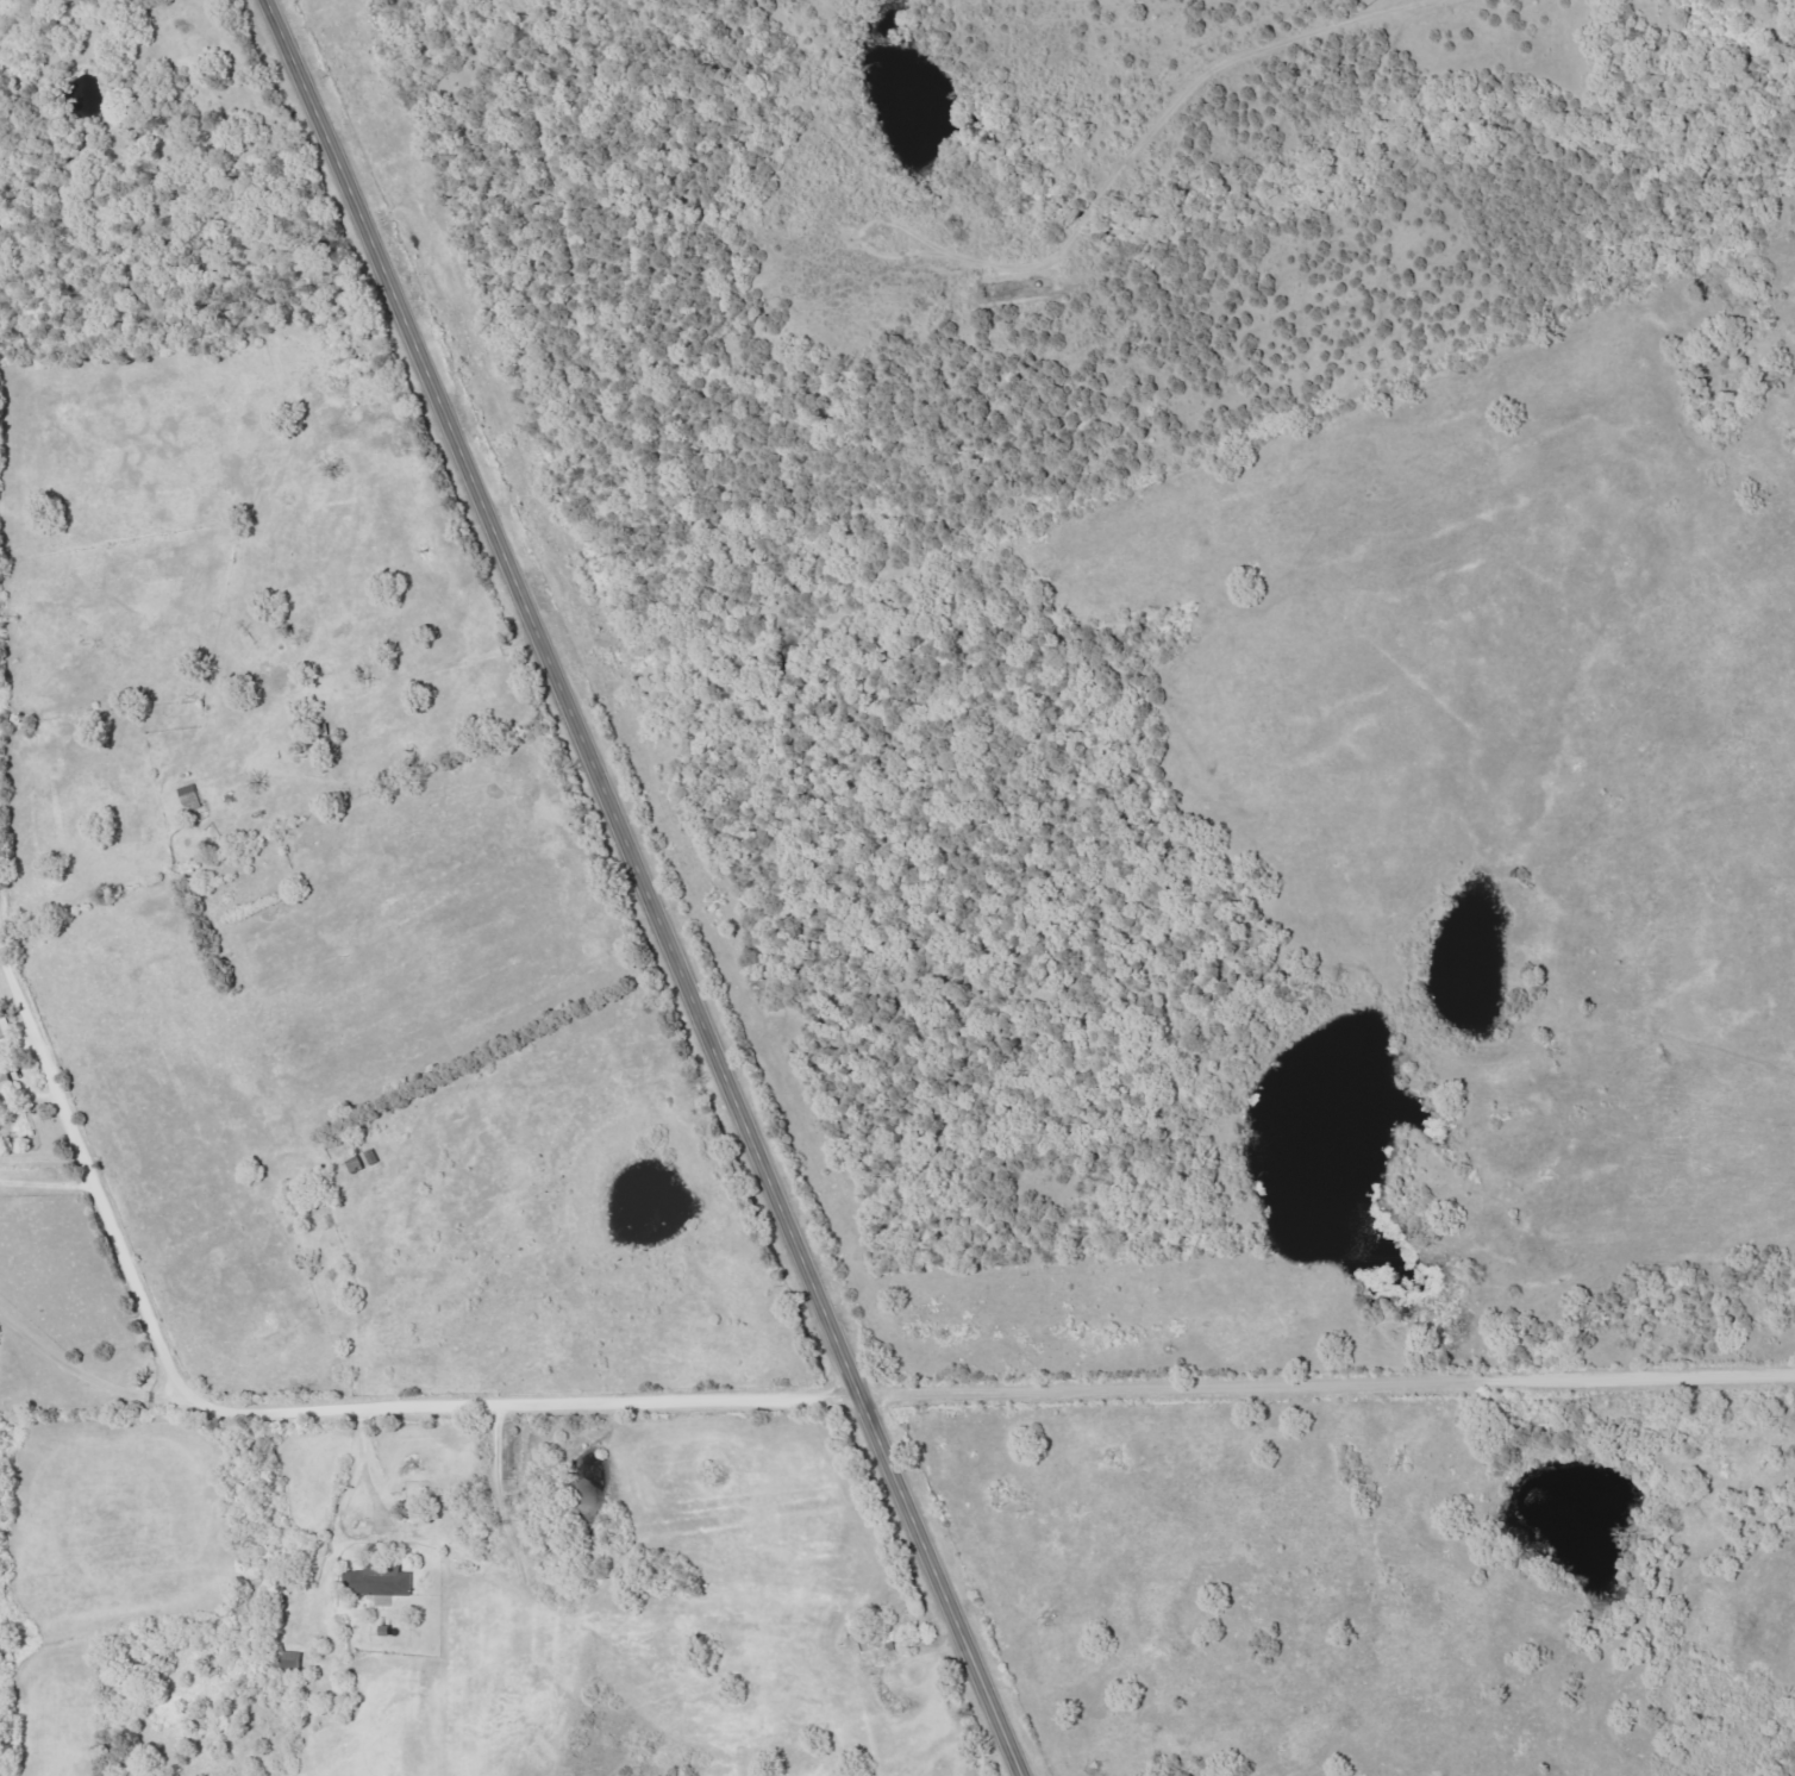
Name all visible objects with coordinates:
road: (639, 888)
building: (5, 1023)
building: (5, 1087)
road: (49, 1192)
road: (85, 1374)
road: (743, 1397)
road: (338, 1520)
building: (379, 1580)
building: (882, 1639)

